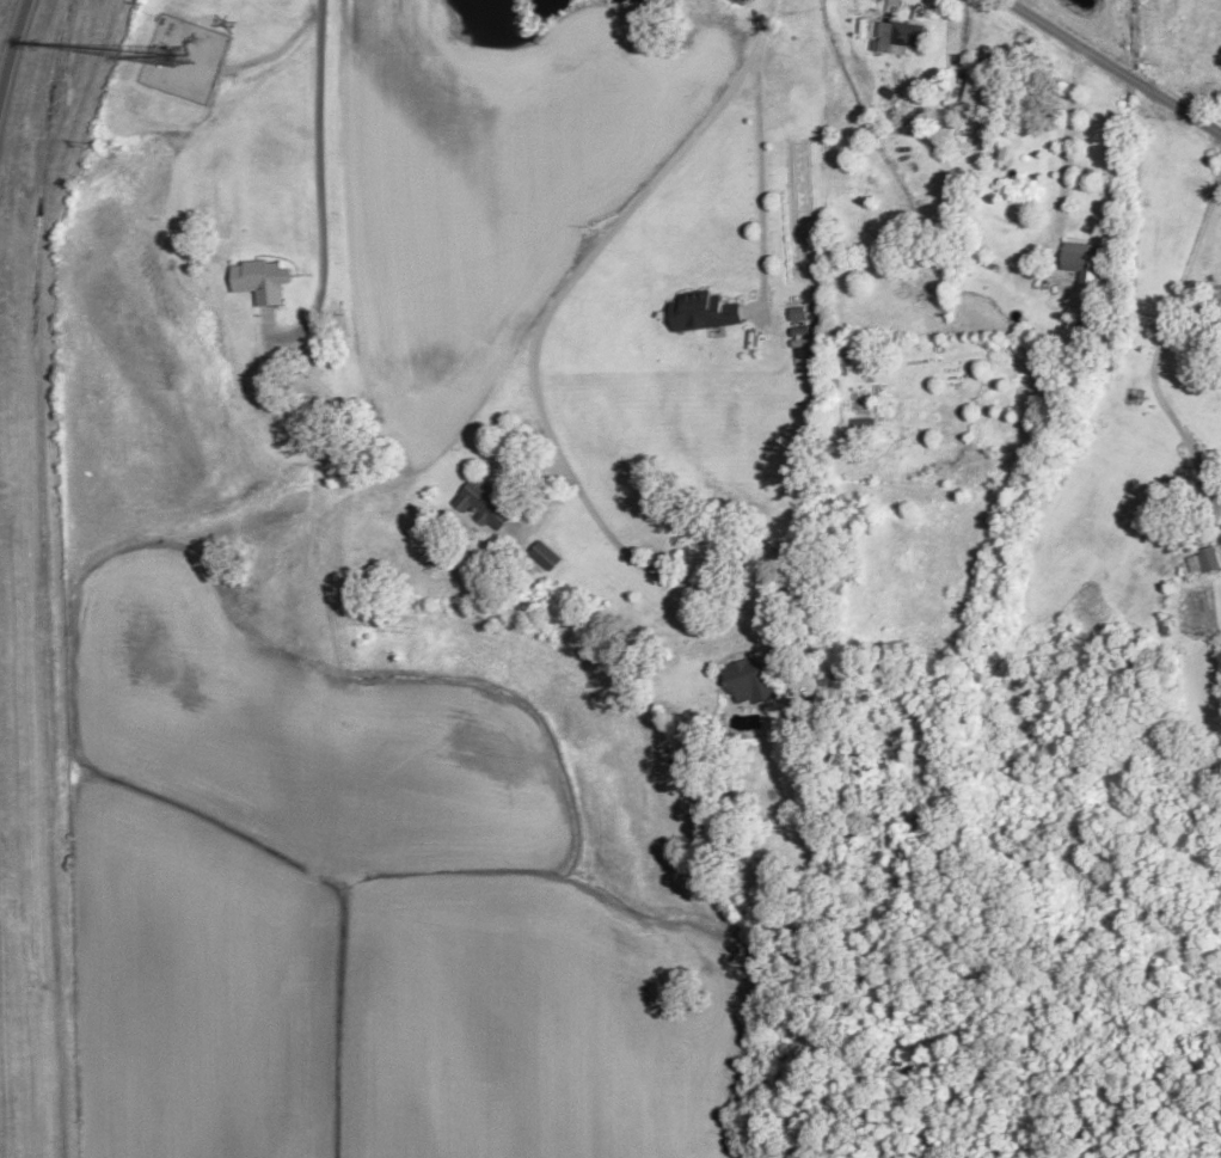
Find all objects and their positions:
building: (901, 38)
road: (13, 41)
road: (1111, 68)
building: (983, 88)
road: (319, 114)
road: (589, 259)
building: (1082, 265)
building: (259, 281)
building: (705, 312)
building: (864, 429)
building: (486, 507)
building: (545, 557)
building: (748, 682)

